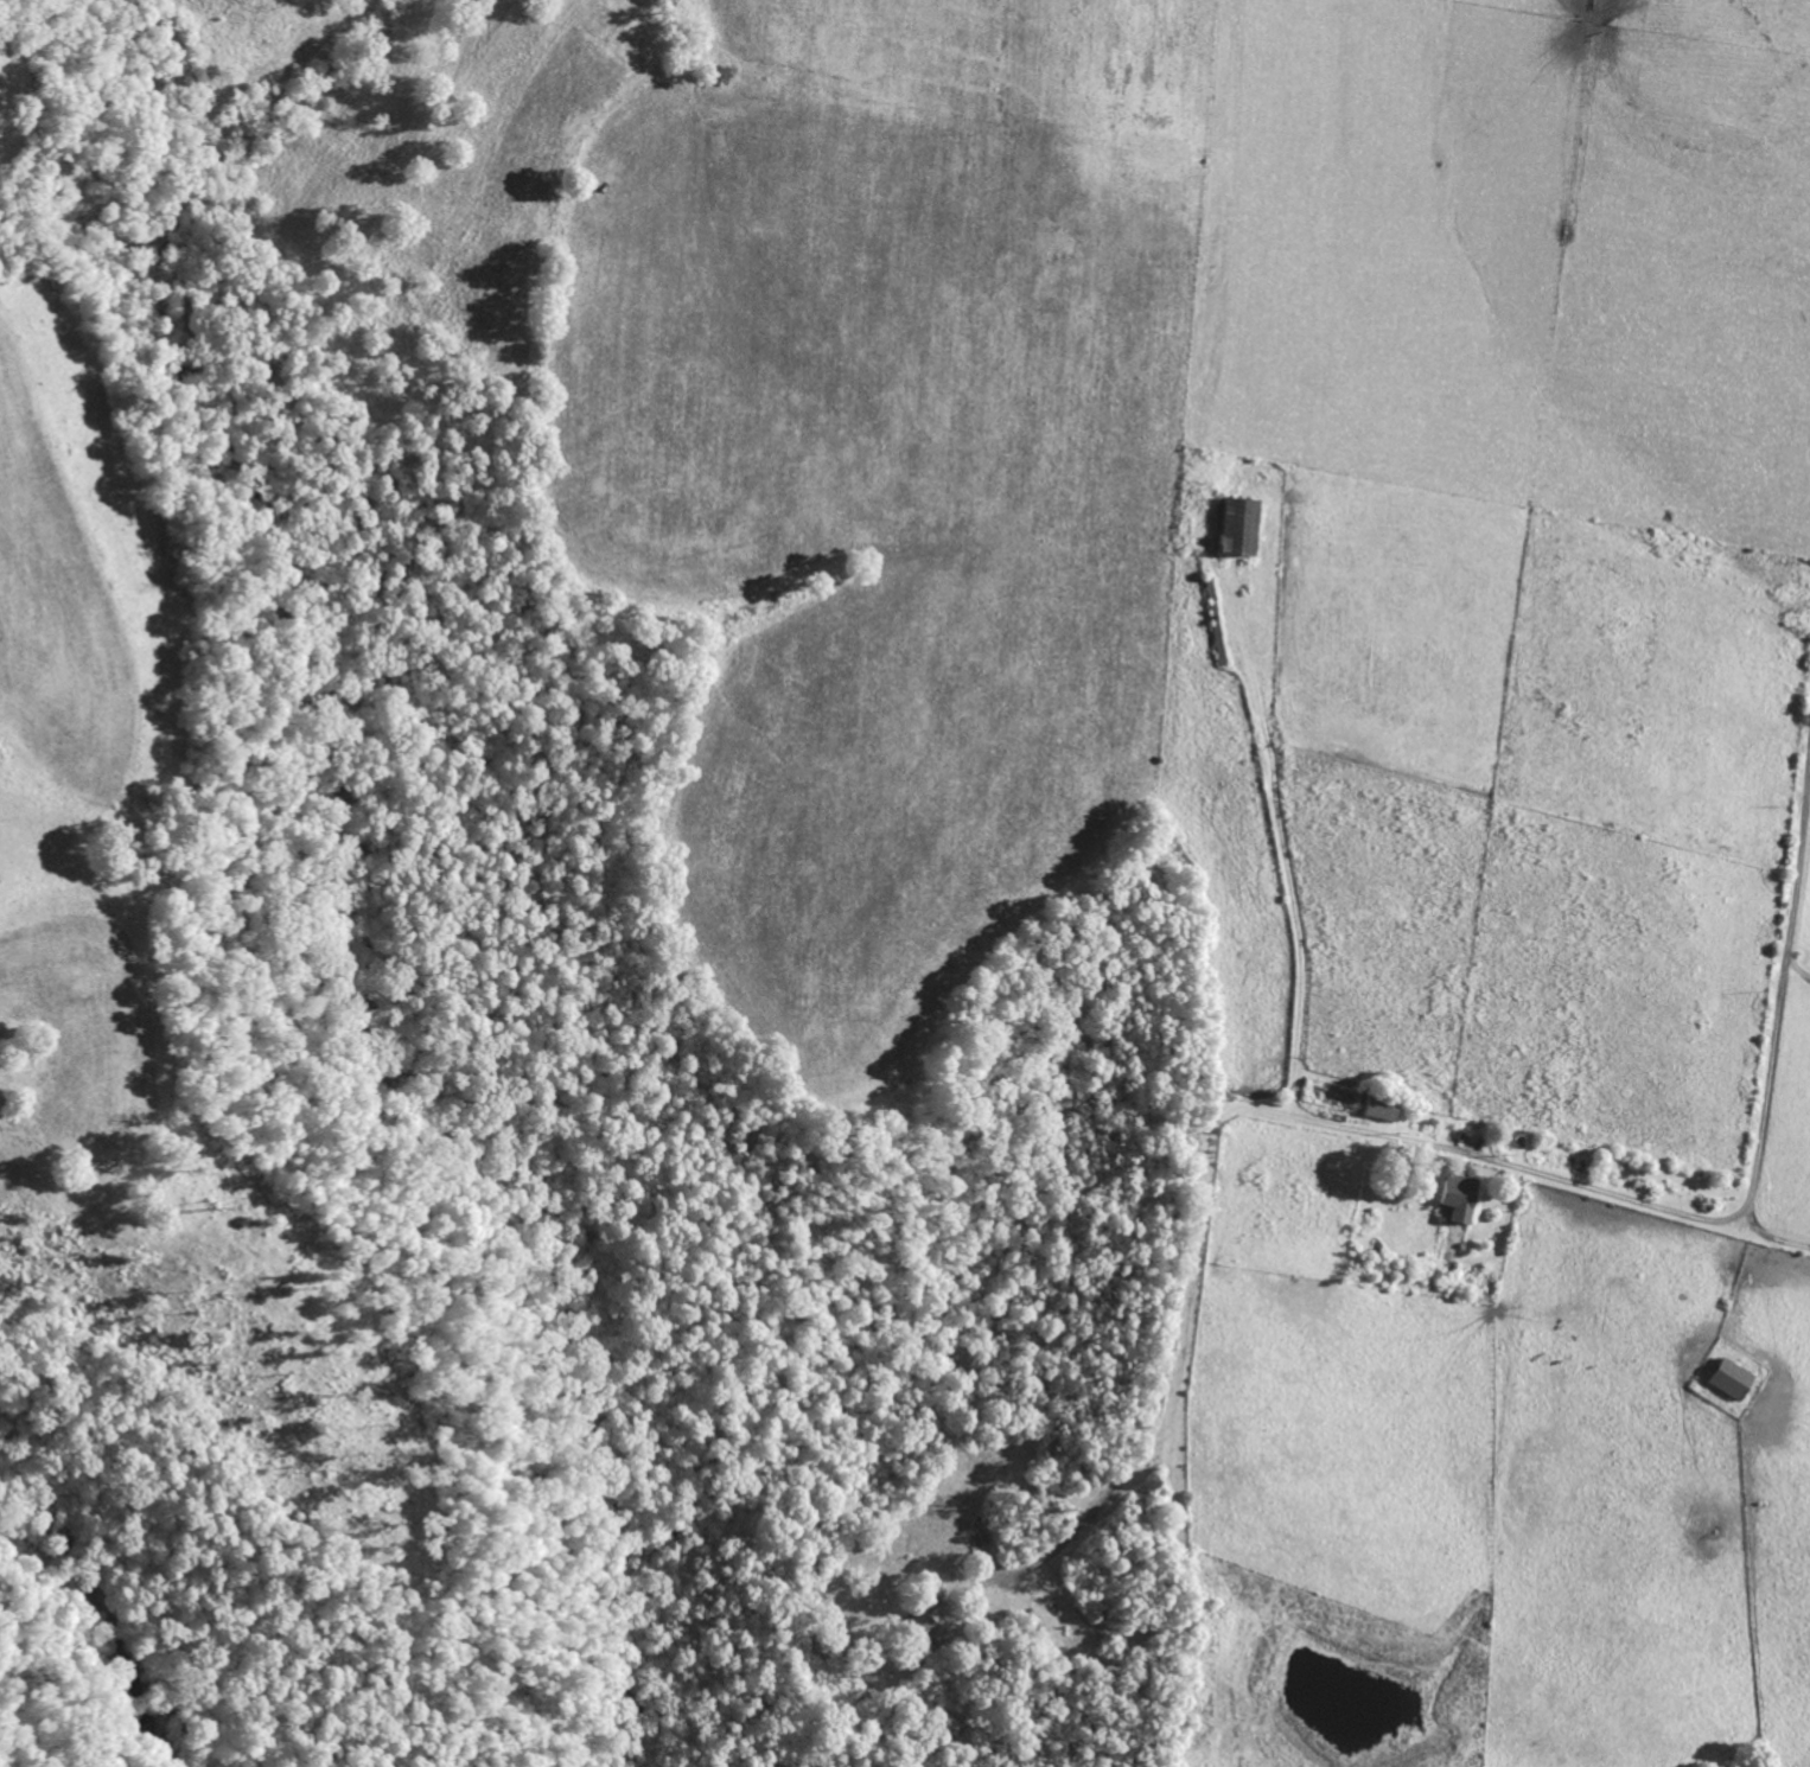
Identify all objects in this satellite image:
road: (1782, 1000)
building: (1349, 1103)
building: (1455, 1199)
building: (1723, 1380)

